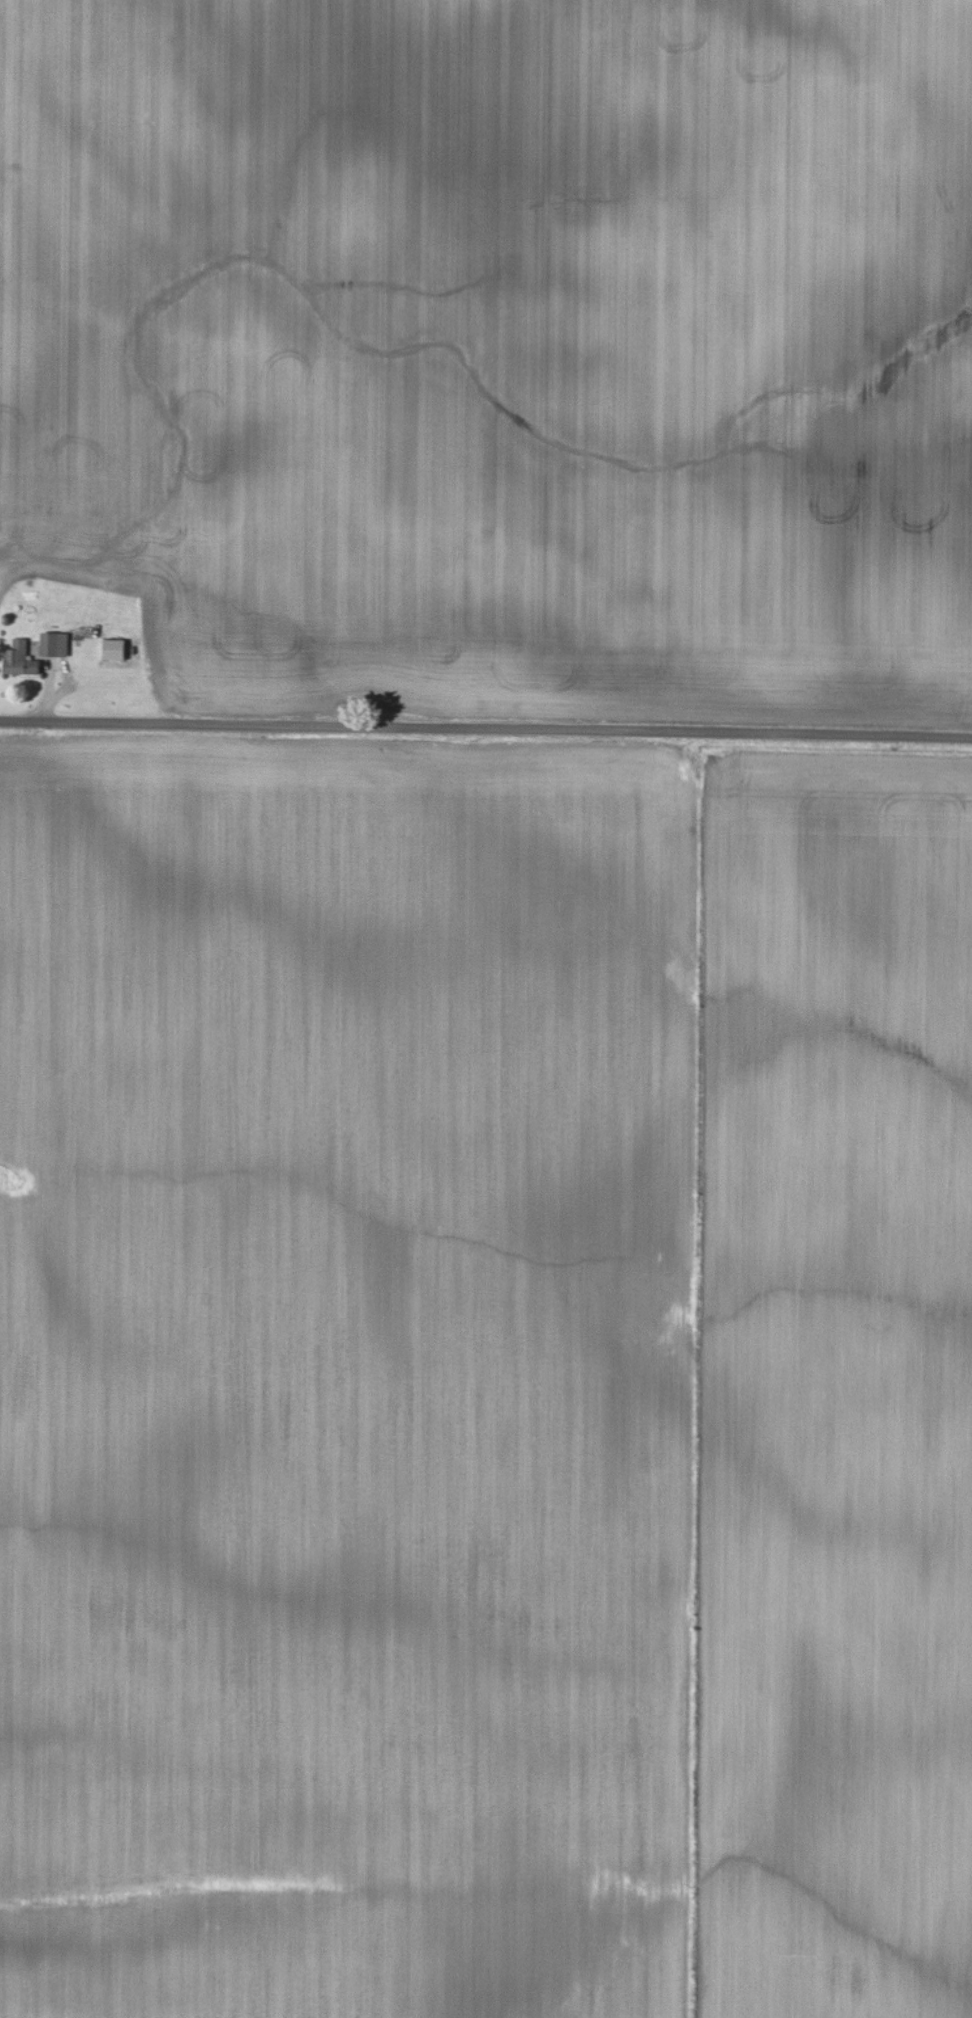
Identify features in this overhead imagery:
building: (113, 649)
road: (486, 729)

